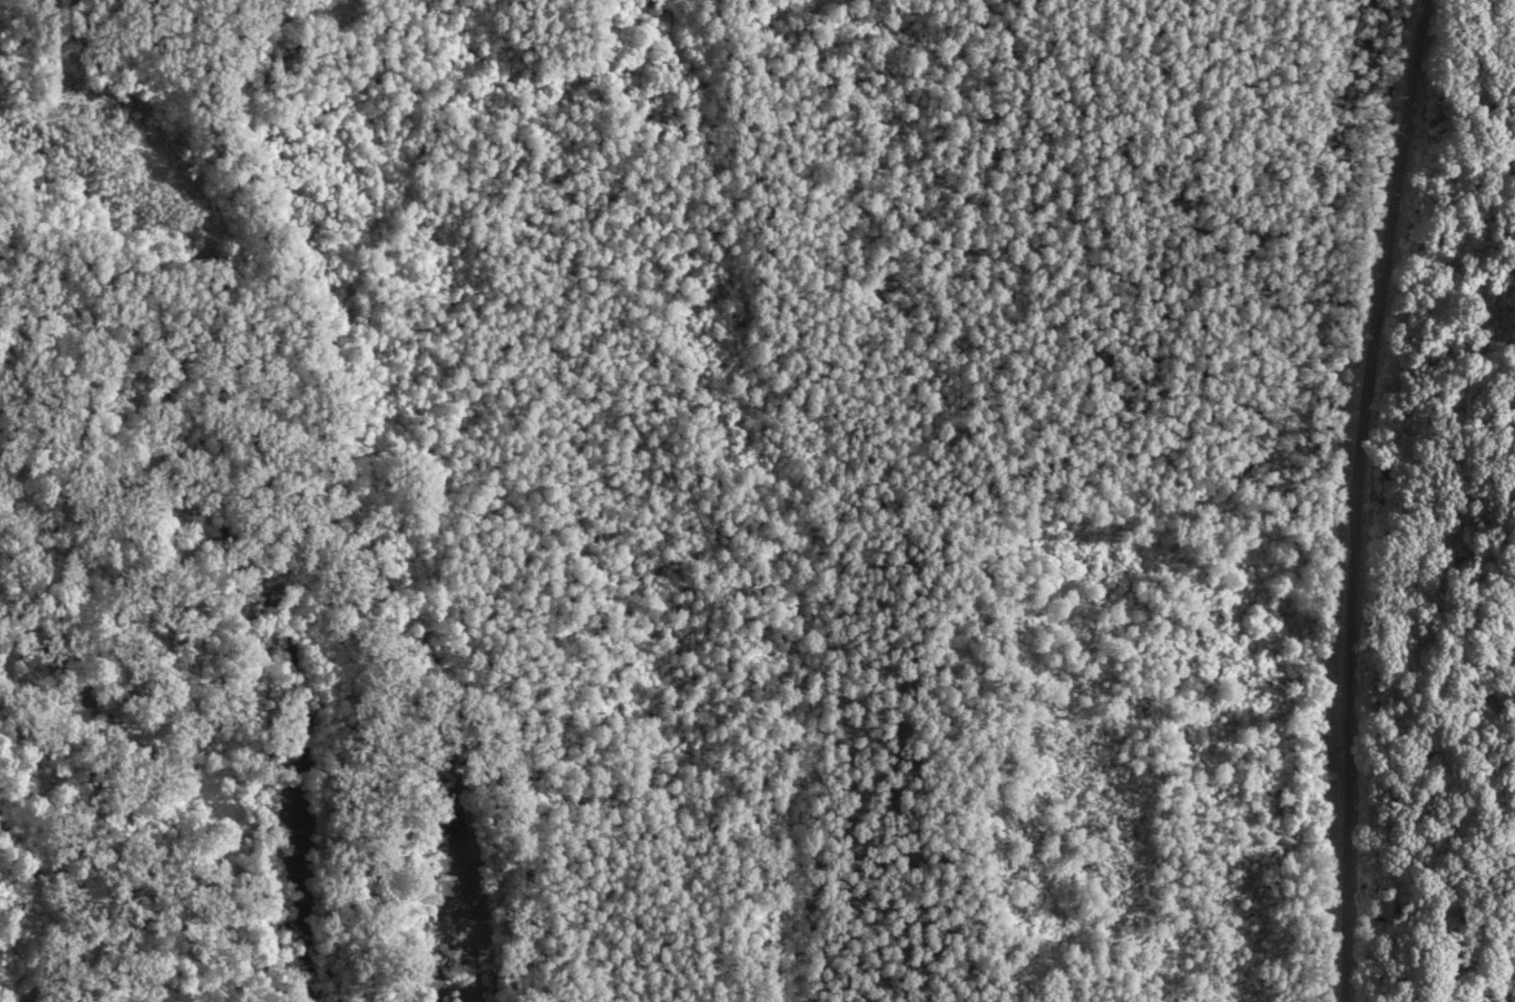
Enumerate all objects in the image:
road: (1361, 499)

